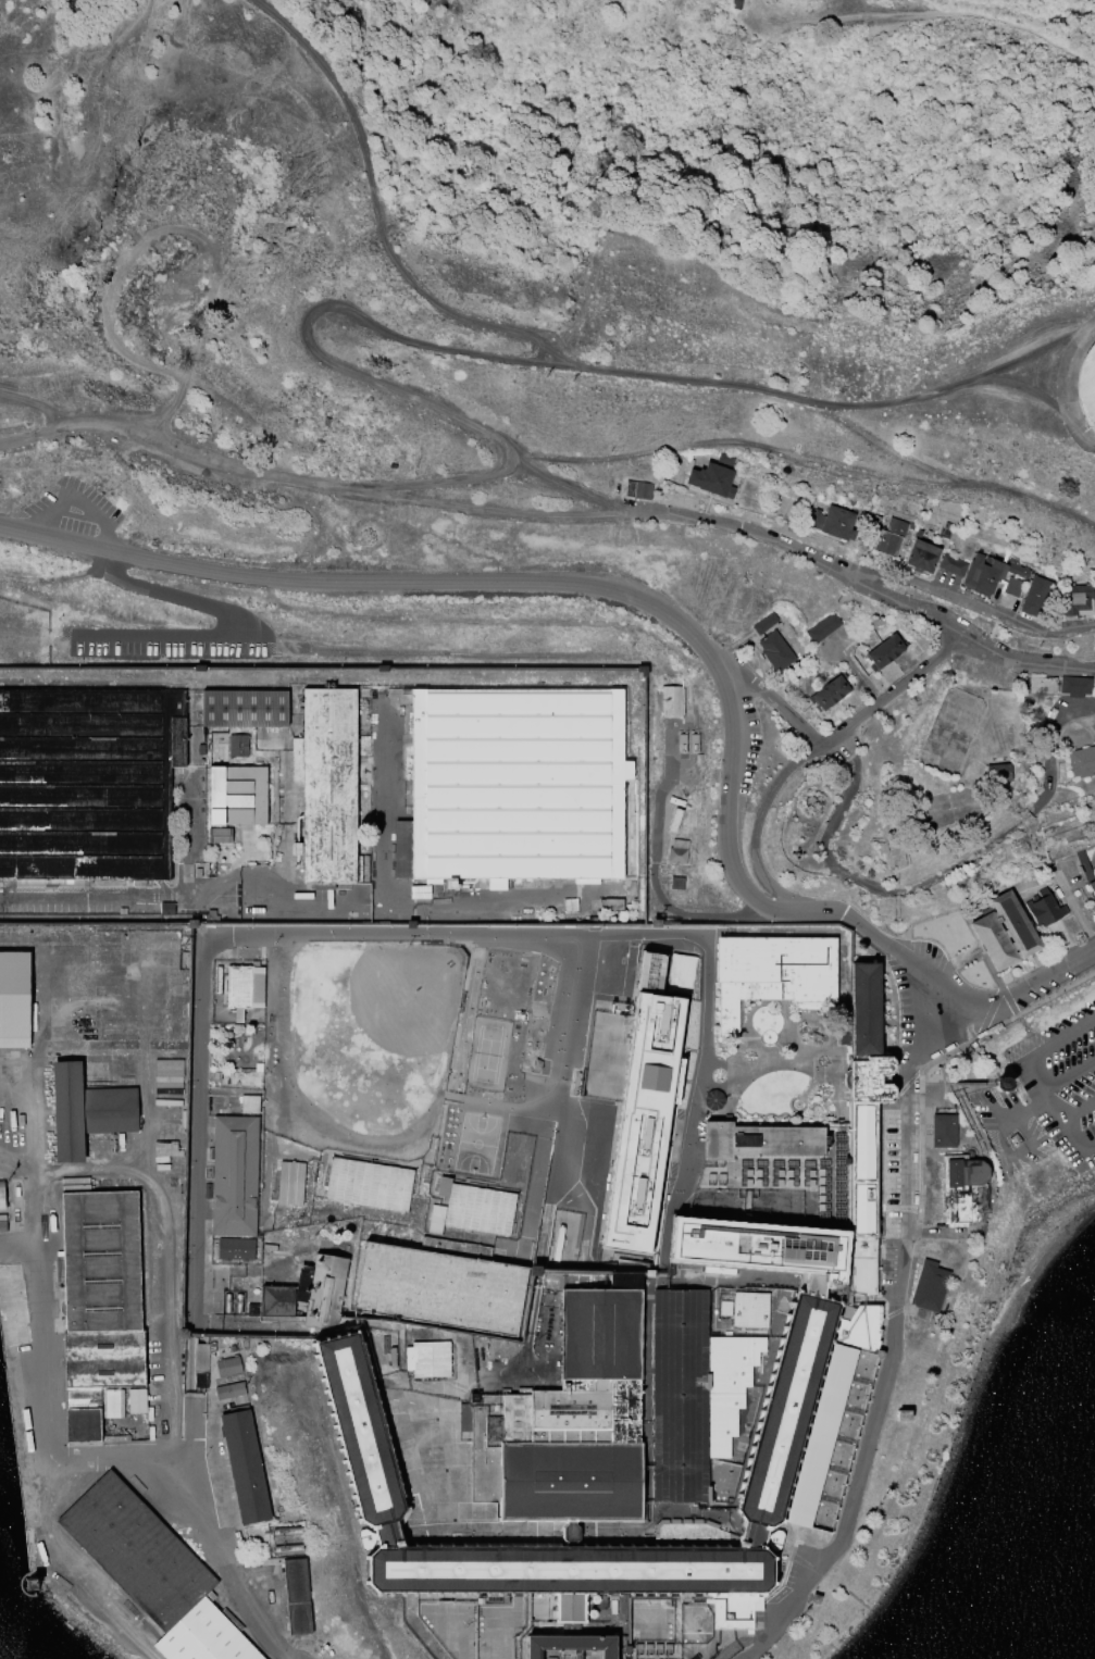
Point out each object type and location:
building: (736, 4)
road: (925, 12)
road: (598, 130)
road: (375, 209)
road: (130, 255)
road: (1083, 329)
road: (551, 363)
road: (1022, 387)
building: (1086, 387)
storage tank: (1086, 387)
road: (40, 411)
building: (326, 423)
road: (881, 441)
road: (170, 444)
road: (808, 458)
building: (713, 476)
road: (489, 479)
building: (637, 489)
road: (484, 512)
building: (875, 519)
building: (832, 522)
building: (910, 525)
building: (944, 531)
building: (888, 536)
building: (920, 553)
building: (951, 563)
building: (988, 572)
building: (1011, 586)
road: (867, 588)
road: (625, 596)
building: (1034, 596)
building: (1077, 598)
road: (969, 604)
building: (763, 622)
building: (822, 626)
building: (774, 650)
building: (883, 651)
building: (384, 669)
building: (643, 670)
building: (1042, 685)
building: (1074, 685)
building: (830, 691)
building: (363, 693)
building: (671, 701)
road: (774, 703)
building: (246, 709)
building: (213, 739)
building: (681, 743)
building: (694, 743)
building: (238, 746)
building: (200, 749)
road: (807, 754)
building: (1081, 761)
building: (997, 772)
building: (88, 781)
building: (508, 785)
building: (329, 787)
building: (238, 795)
building: (675, 800)
building: (674, 820)
building: (220, 835)
building: (676, 851)
building: (1083, 863)
building: (198, 869)
road: (934, 878)
building: (675, 883)
building: (1092, 886)
building: (610, 903)
building: (166, 908)
building: (1044, 908)
building: (122, 911)
building: (192, 924)
building: (1004, 931)
building: (774, 975)
building: (219, 978)
building: (244, 991)
park: (407, 994)
building: (13, 999)
road: (1004, 1000)
building: (866, 1011)
building: (985, 1033)
building: (843, 1034)
park: (490, 1055)
park: (338, 1063)
building: (538, 1063)
building: (260, 1065)
road: (1070, 1071)
road: (1038, 1075)
road: (971, 1083)
building: (1000, 1083)
road: (928, 1084)
parking lot: (1046, 1097)
building: (647, 1102)
building: (249, 1103)
road: (1080, 1107)
building: (89, 1109)
building: (947, 1132)
park: (477, 1142)
building: (760, 1142)
building: (866, 1164)
building: (237, 1174)
building: (290, 1183)
building: (368, 1184)
building: (443, 1188)
building: (966, 1190)
building: (1, 1198)
building: (480, 1211)
building: (436, 1220)
road: (15, 1248)
building: (236, 1249)
building: (764, 1249)
building: (588, 1280)
building: (930, 1287)
building: (439, 1289)
building: (325, 1293)
building: (286, 1295)
building: (101, 1309)
building: (747, 1311)
building: (347, 1321)
building: (860, 1329)
building: (345, 1330)
building: (427, 1360)
building: (228, 1368)
road: (886, 1375)
building: (229, 1390)
building: (694, 1395)
building: (568, 1424)
building: (747, 1427)
building: (794, 1443)
road: (115, 1462)
building: (245, 1468)
building: (152, 1572)
building: (297, 1597)
building: (734, 1610)
building: (571, 1646)

